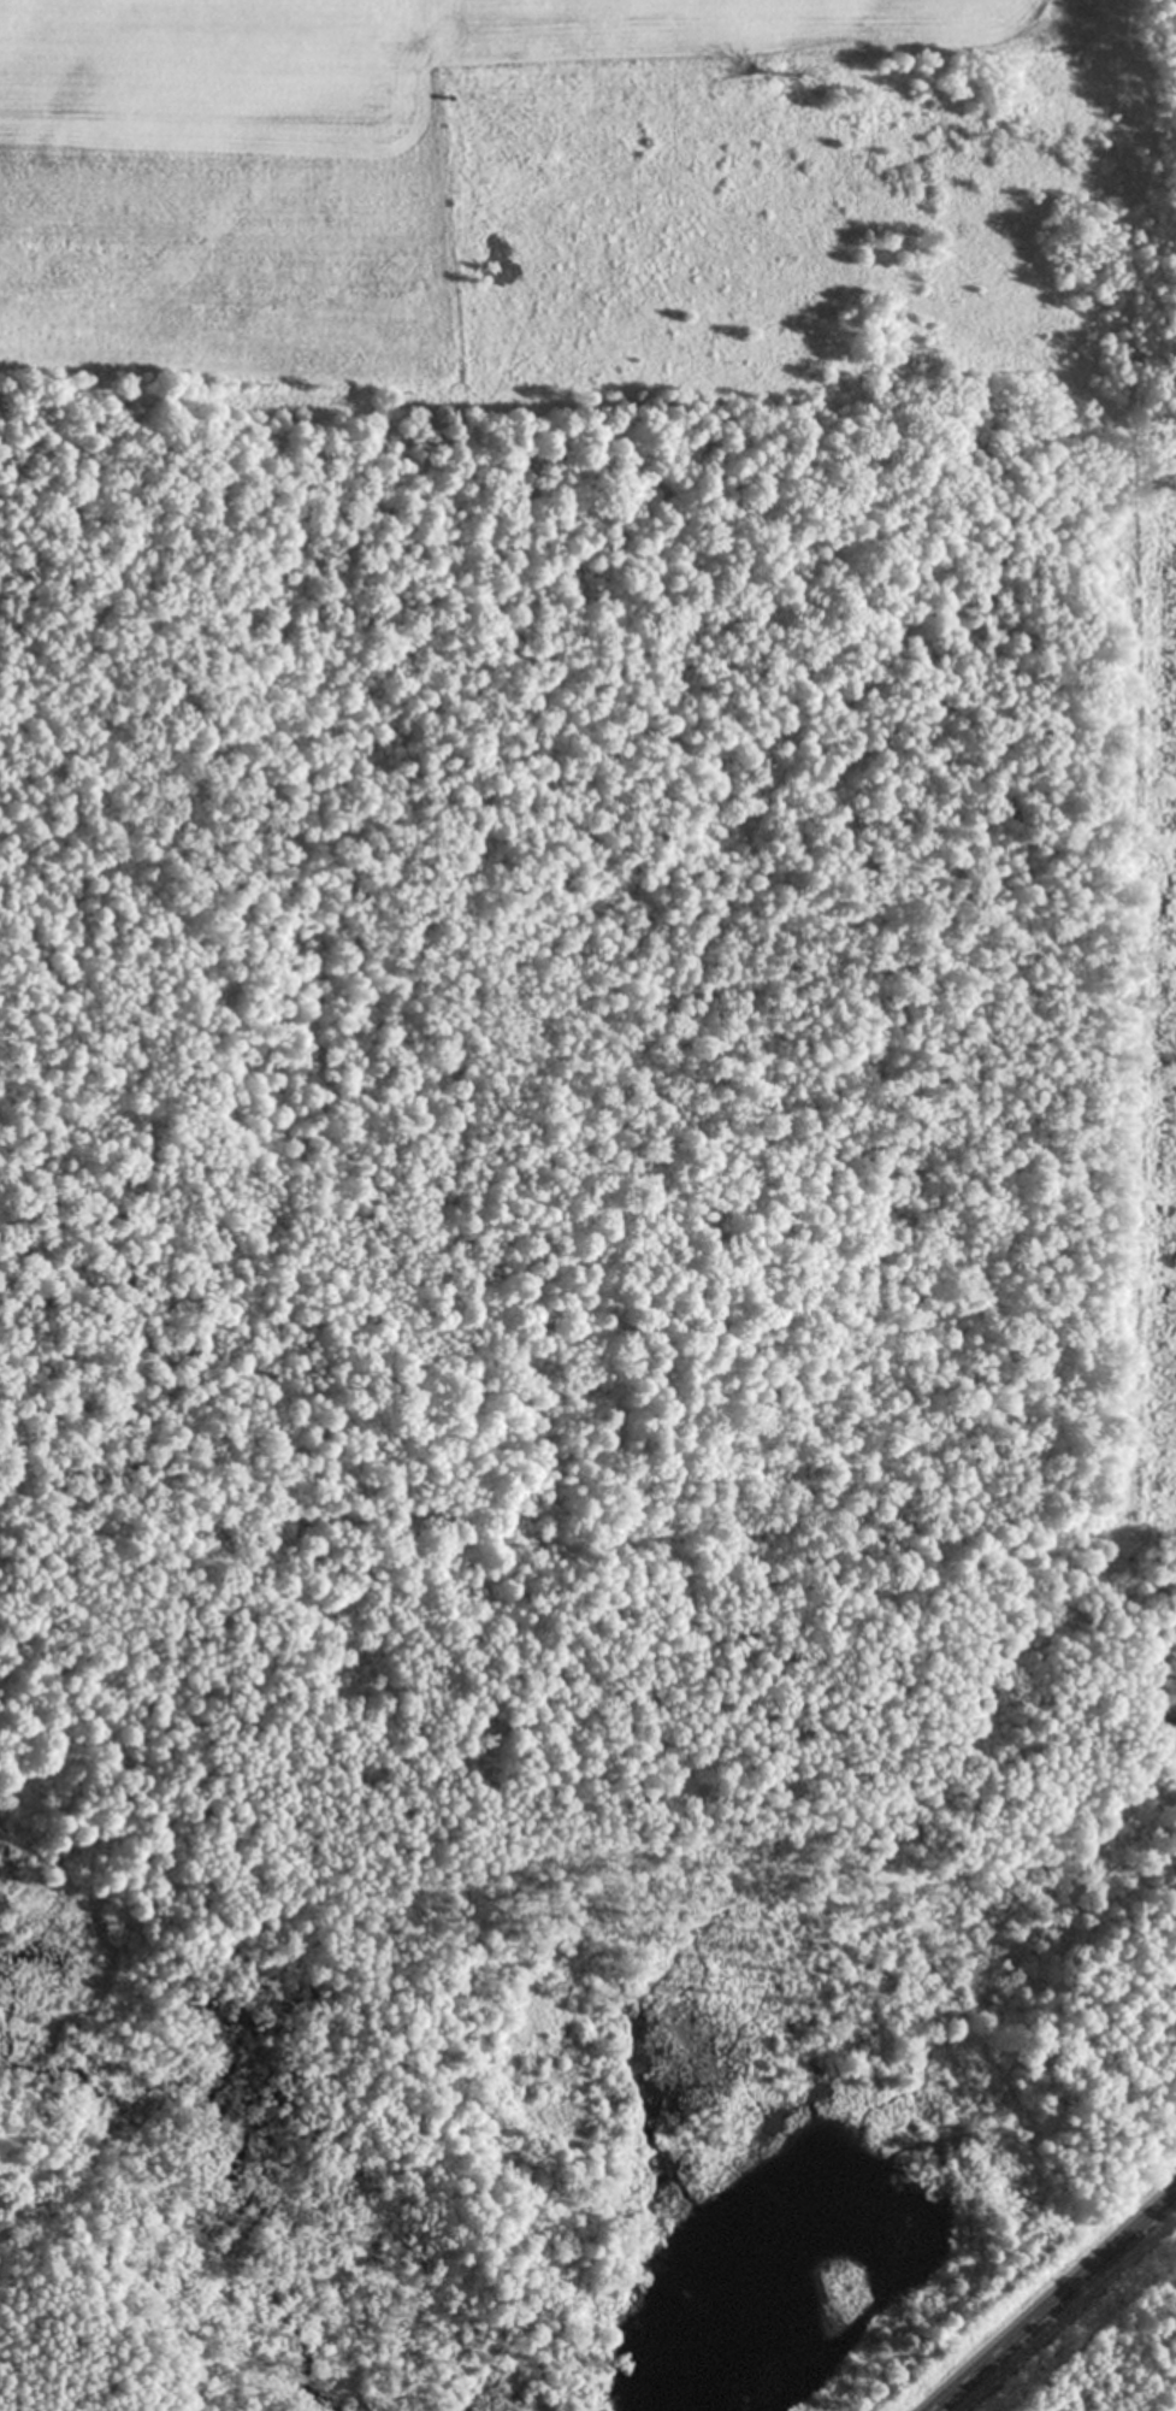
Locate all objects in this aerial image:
crop: (580, 199)
road: (1052, 2300)

